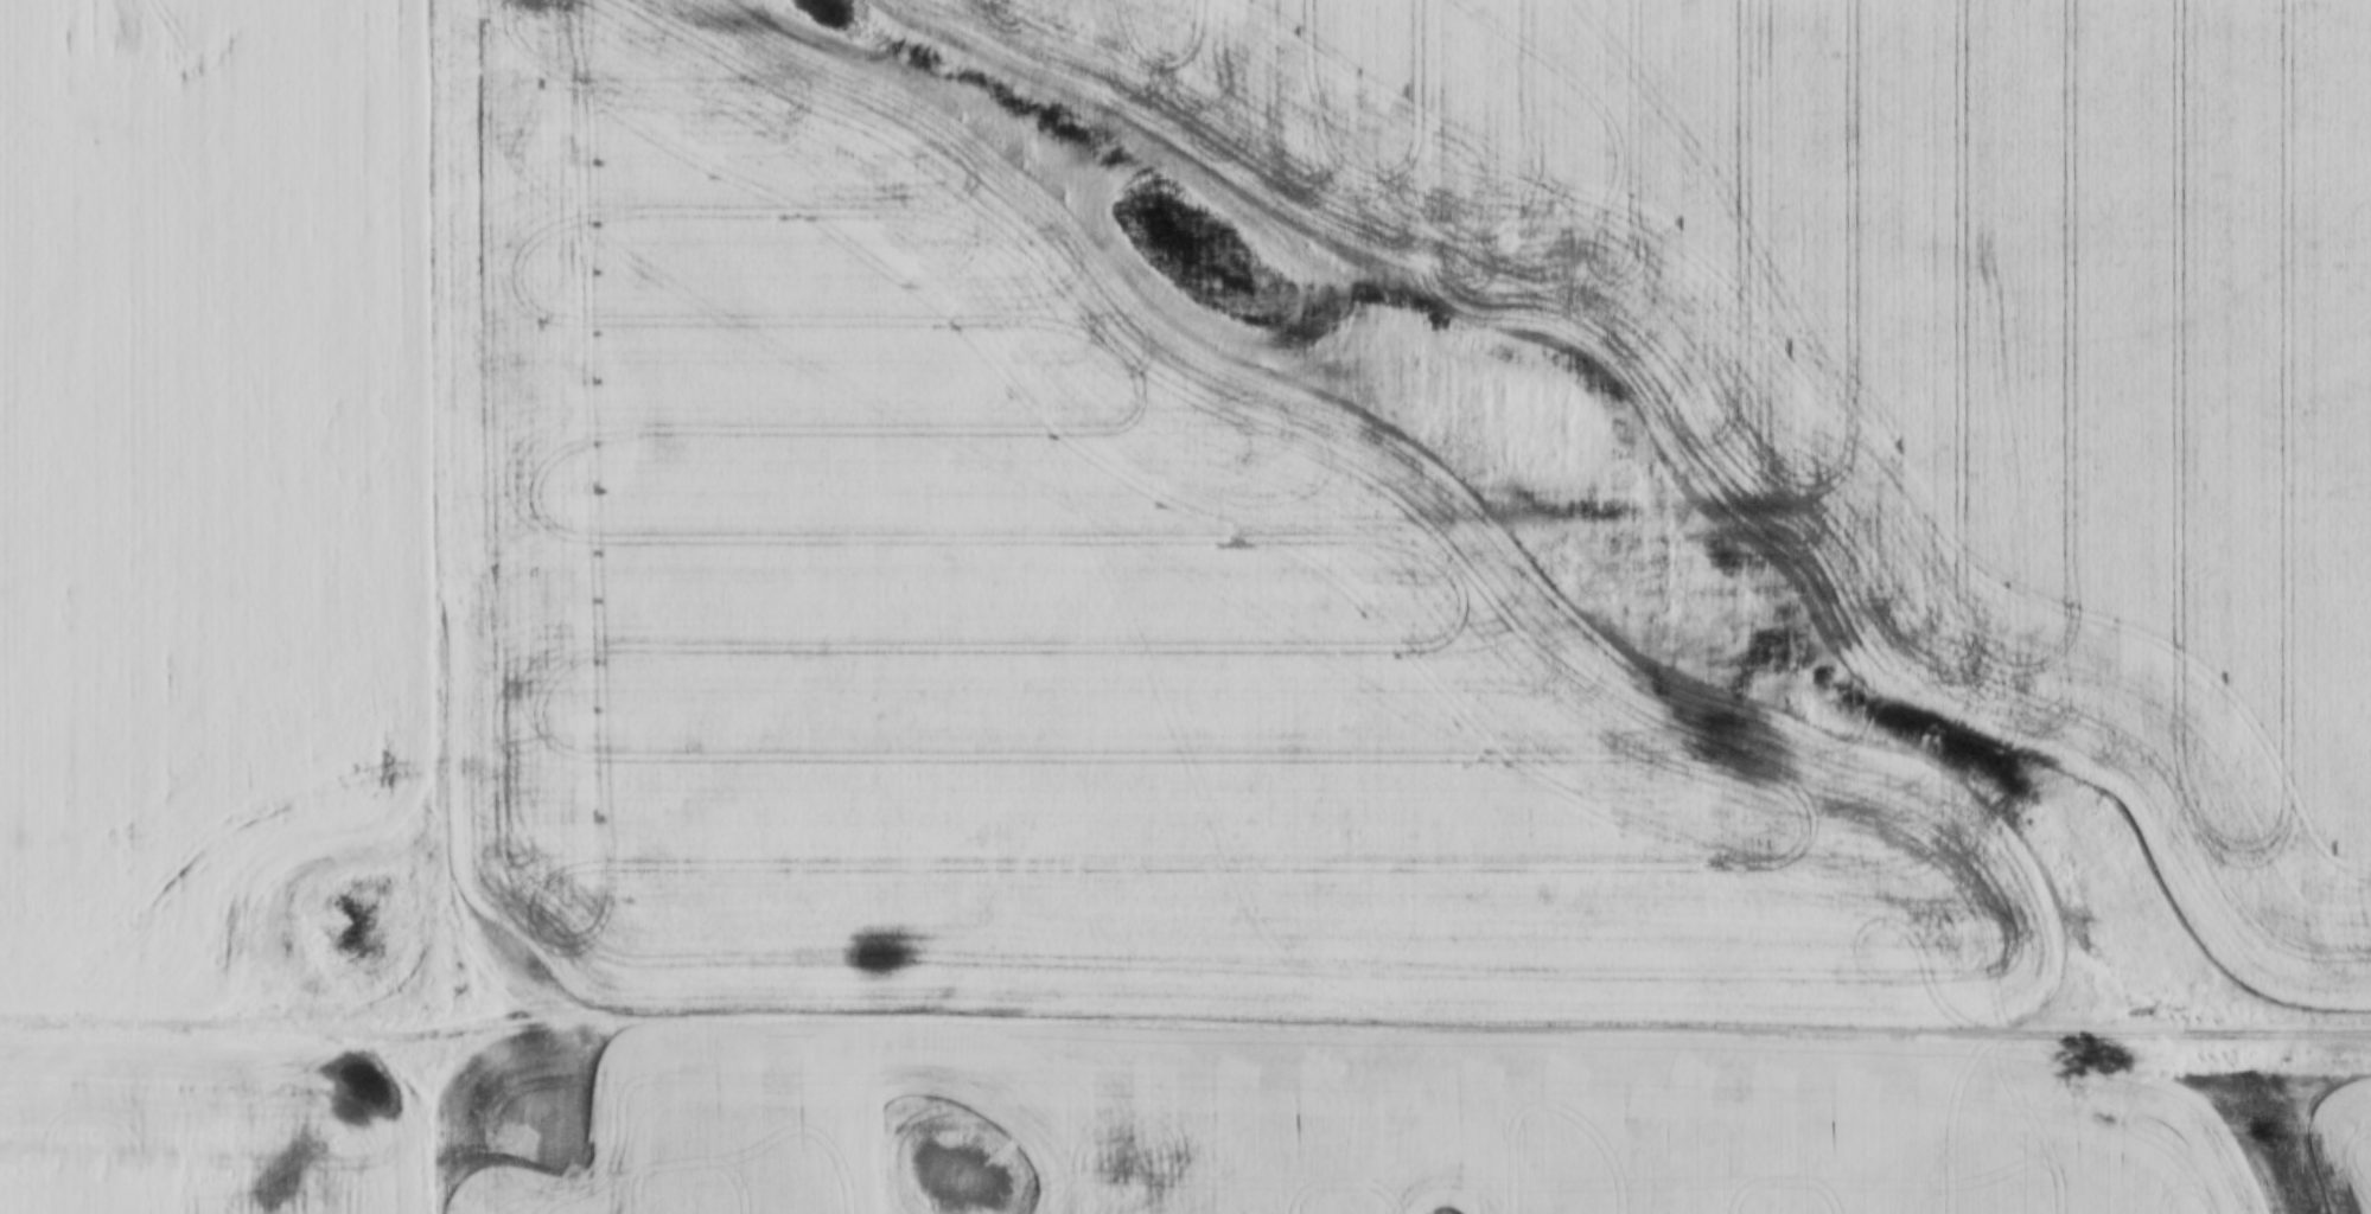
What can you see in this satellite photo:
road: (1185, 1024)

